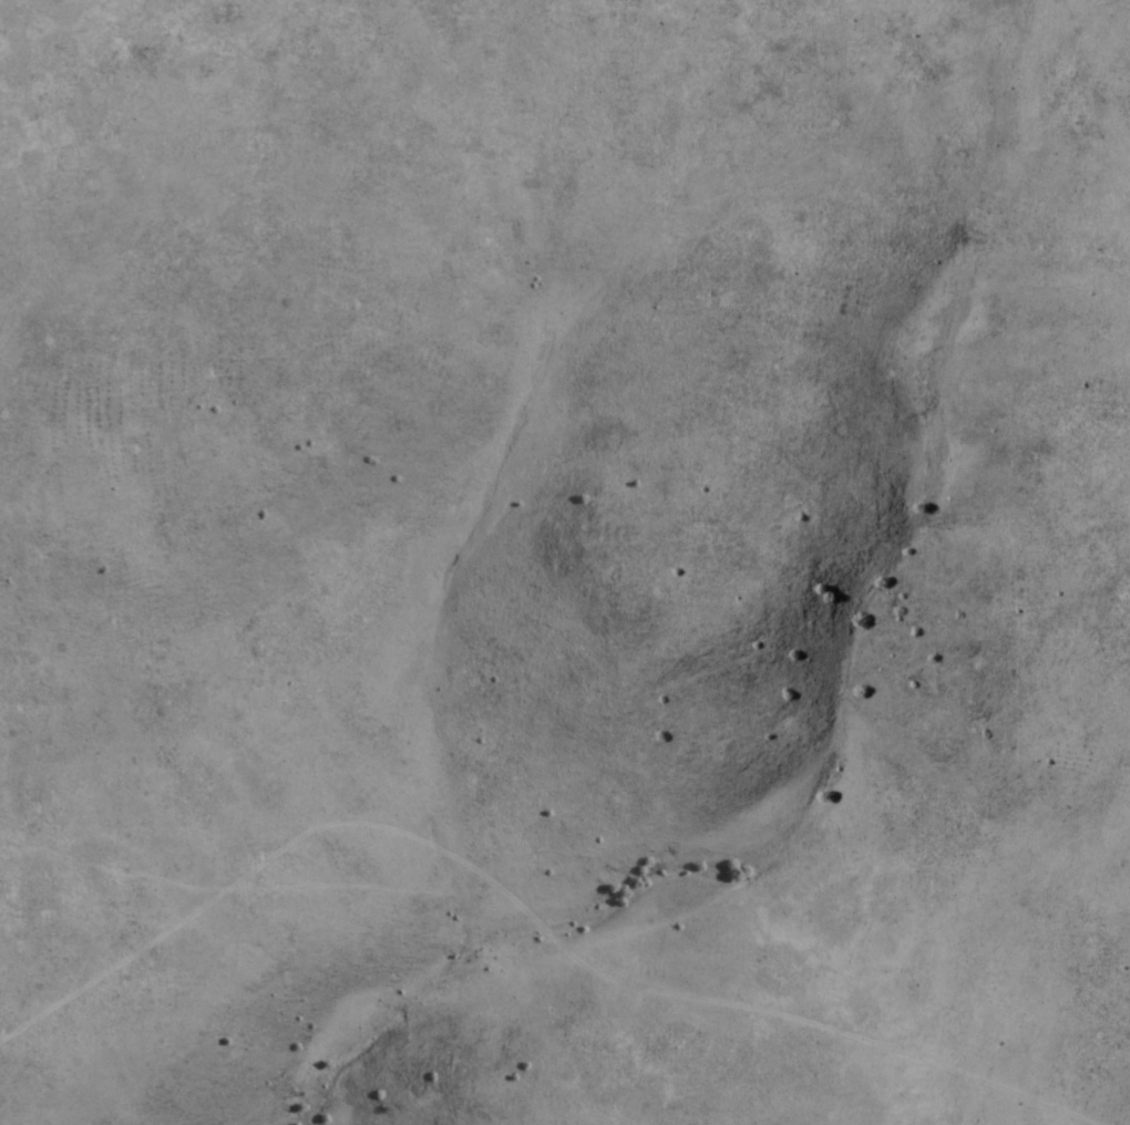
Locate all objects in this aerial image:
road: (501, 897)
road: (933, 1062)

